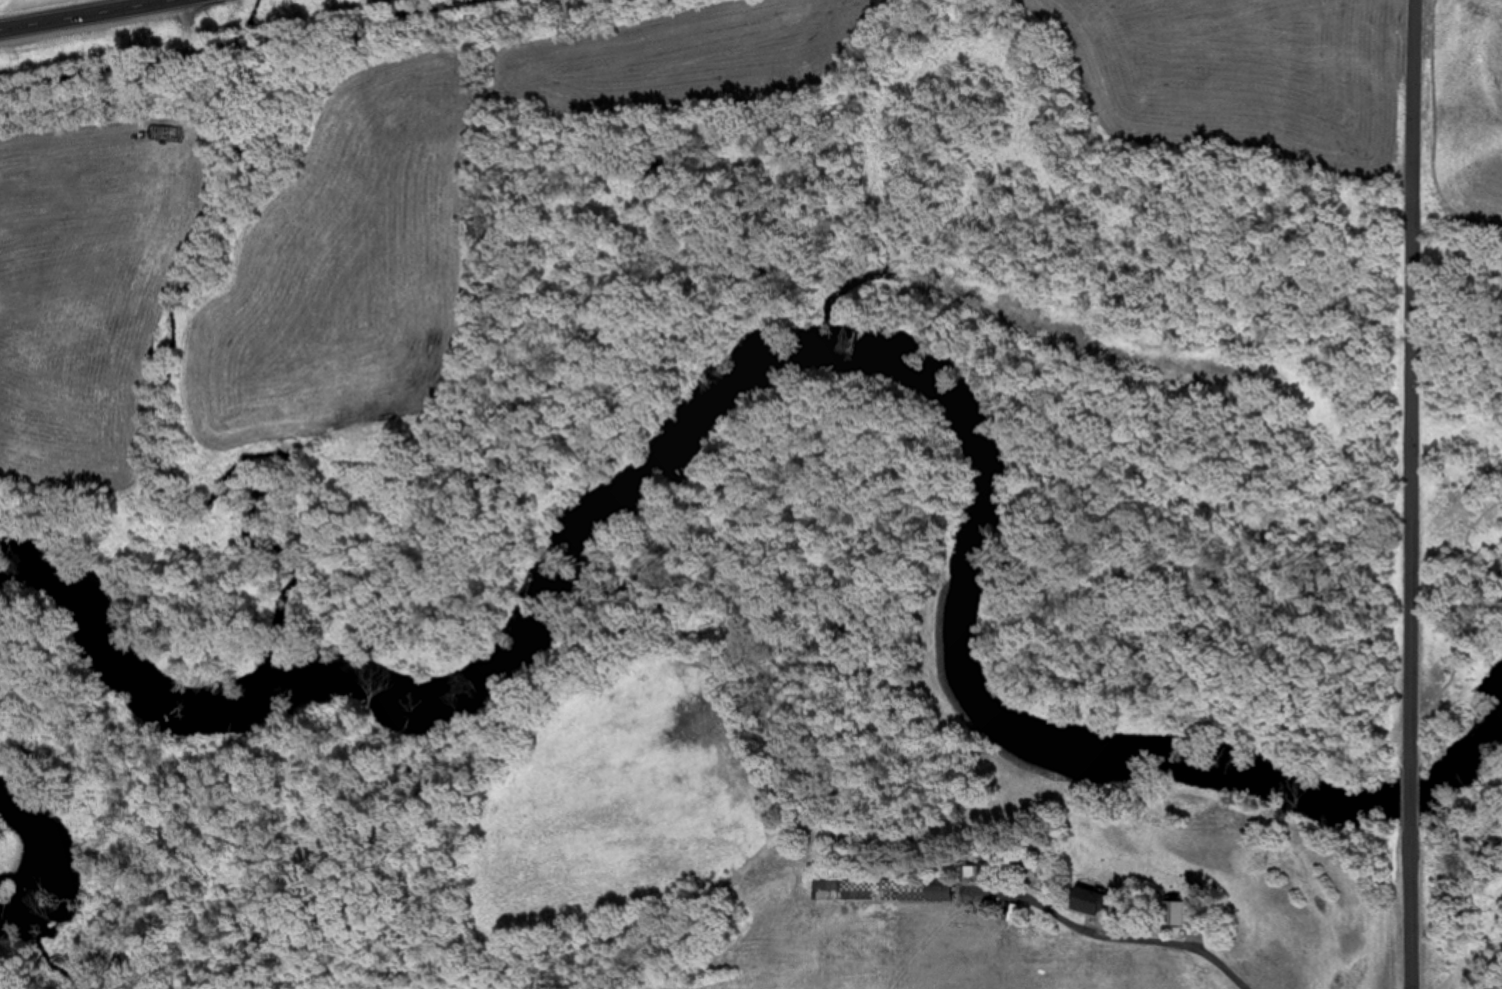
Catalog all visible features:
road: (88, 14)
road: (384, 18)
road: (259, 42)
road: (113, 68)
road: (1417, 494)
river: (632, 495)
river: (121, 626)
river: (1163, 764)
river: (31, 767)
river: (38, 816)
river: (13, 838)
building: (818, 890)
building: (1075, 904)
building: (1172, 912)

